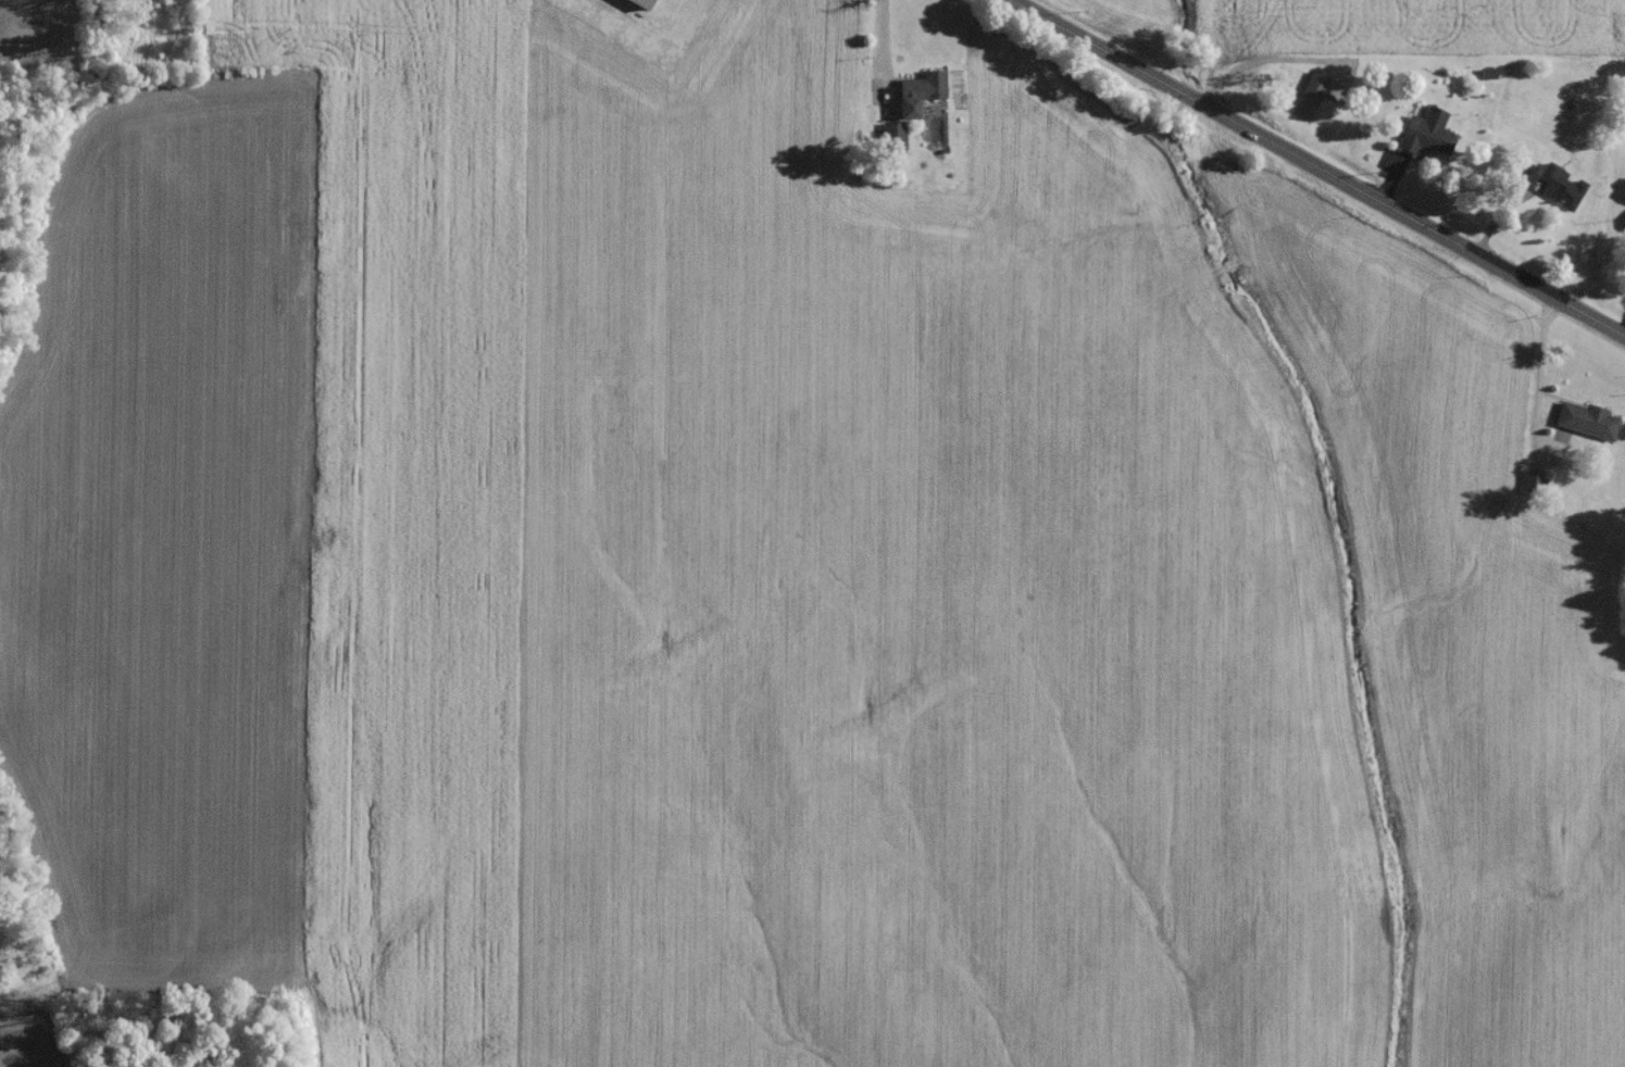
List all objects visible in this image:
building: (634, 5)
road: (883, 38)
road: (1263, 63)
building: (1310, 91)
building: (914, 95)
building: (1418, 137)
building: (889, 139)
building: (1534, 156)
road: (1322, 164)
building: (1555, 191)
building: (1623, 229)
road: (1539, 367)
building: (1582, 425)

